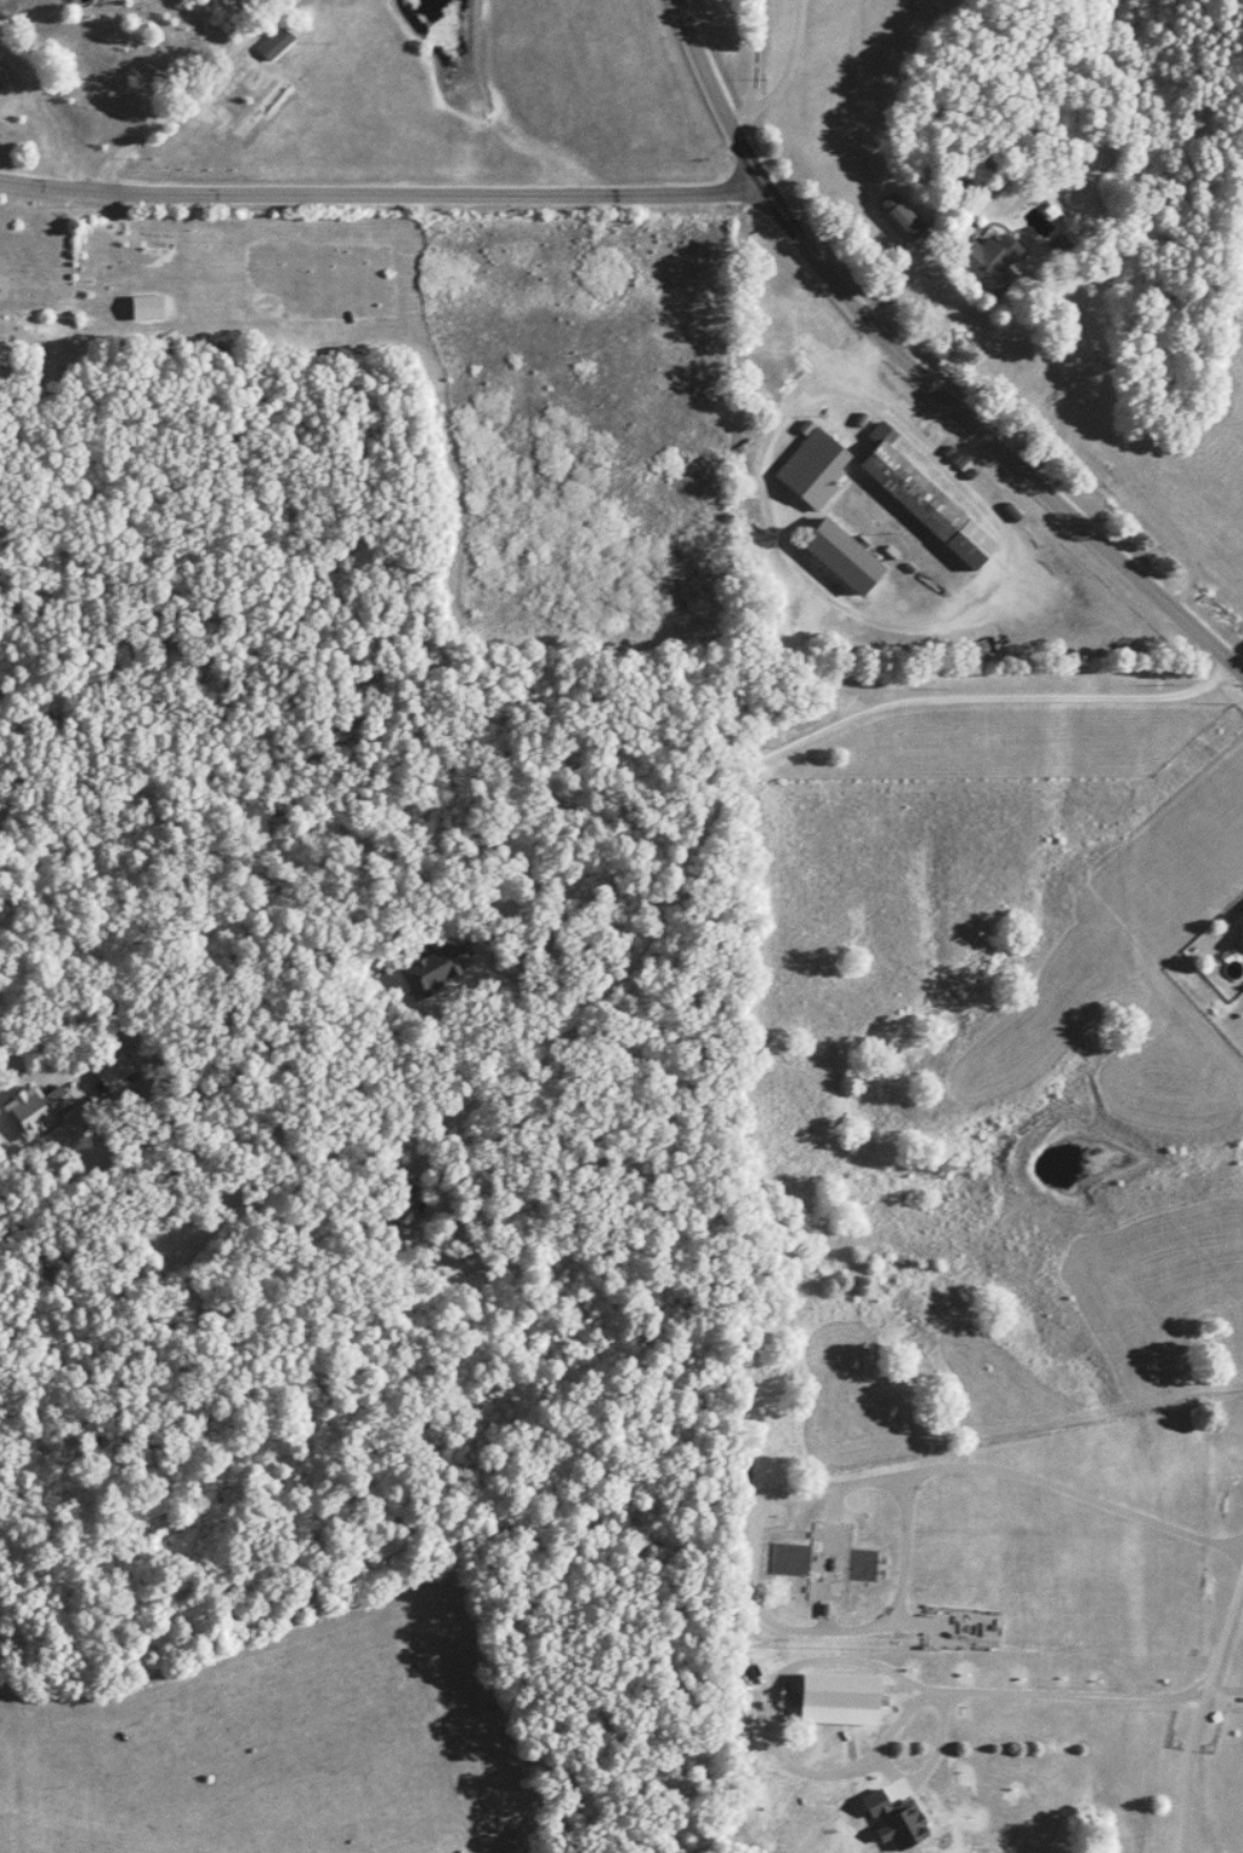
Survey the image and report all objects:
building: (277, 44)
road: (784, 66)
road: (750, 69)
road: (186, 92)
road: (379, 198)
building: (907, 222)
building: (993, 261)
road: (861, 358)
road: (915, 372)
building: (816, 467)
building: (929, 501)
building: (847, 557)
road: (880, 620)
road: (671, 875)
building: (1242, 912)
building: (437, 971)
road: (517, 980)
road: (81, 1151)
road: (1072, 1489)
road: (830, 1623)
road: (952, 1687)
road: (1224, 1691)
road: (1199, 1706)

